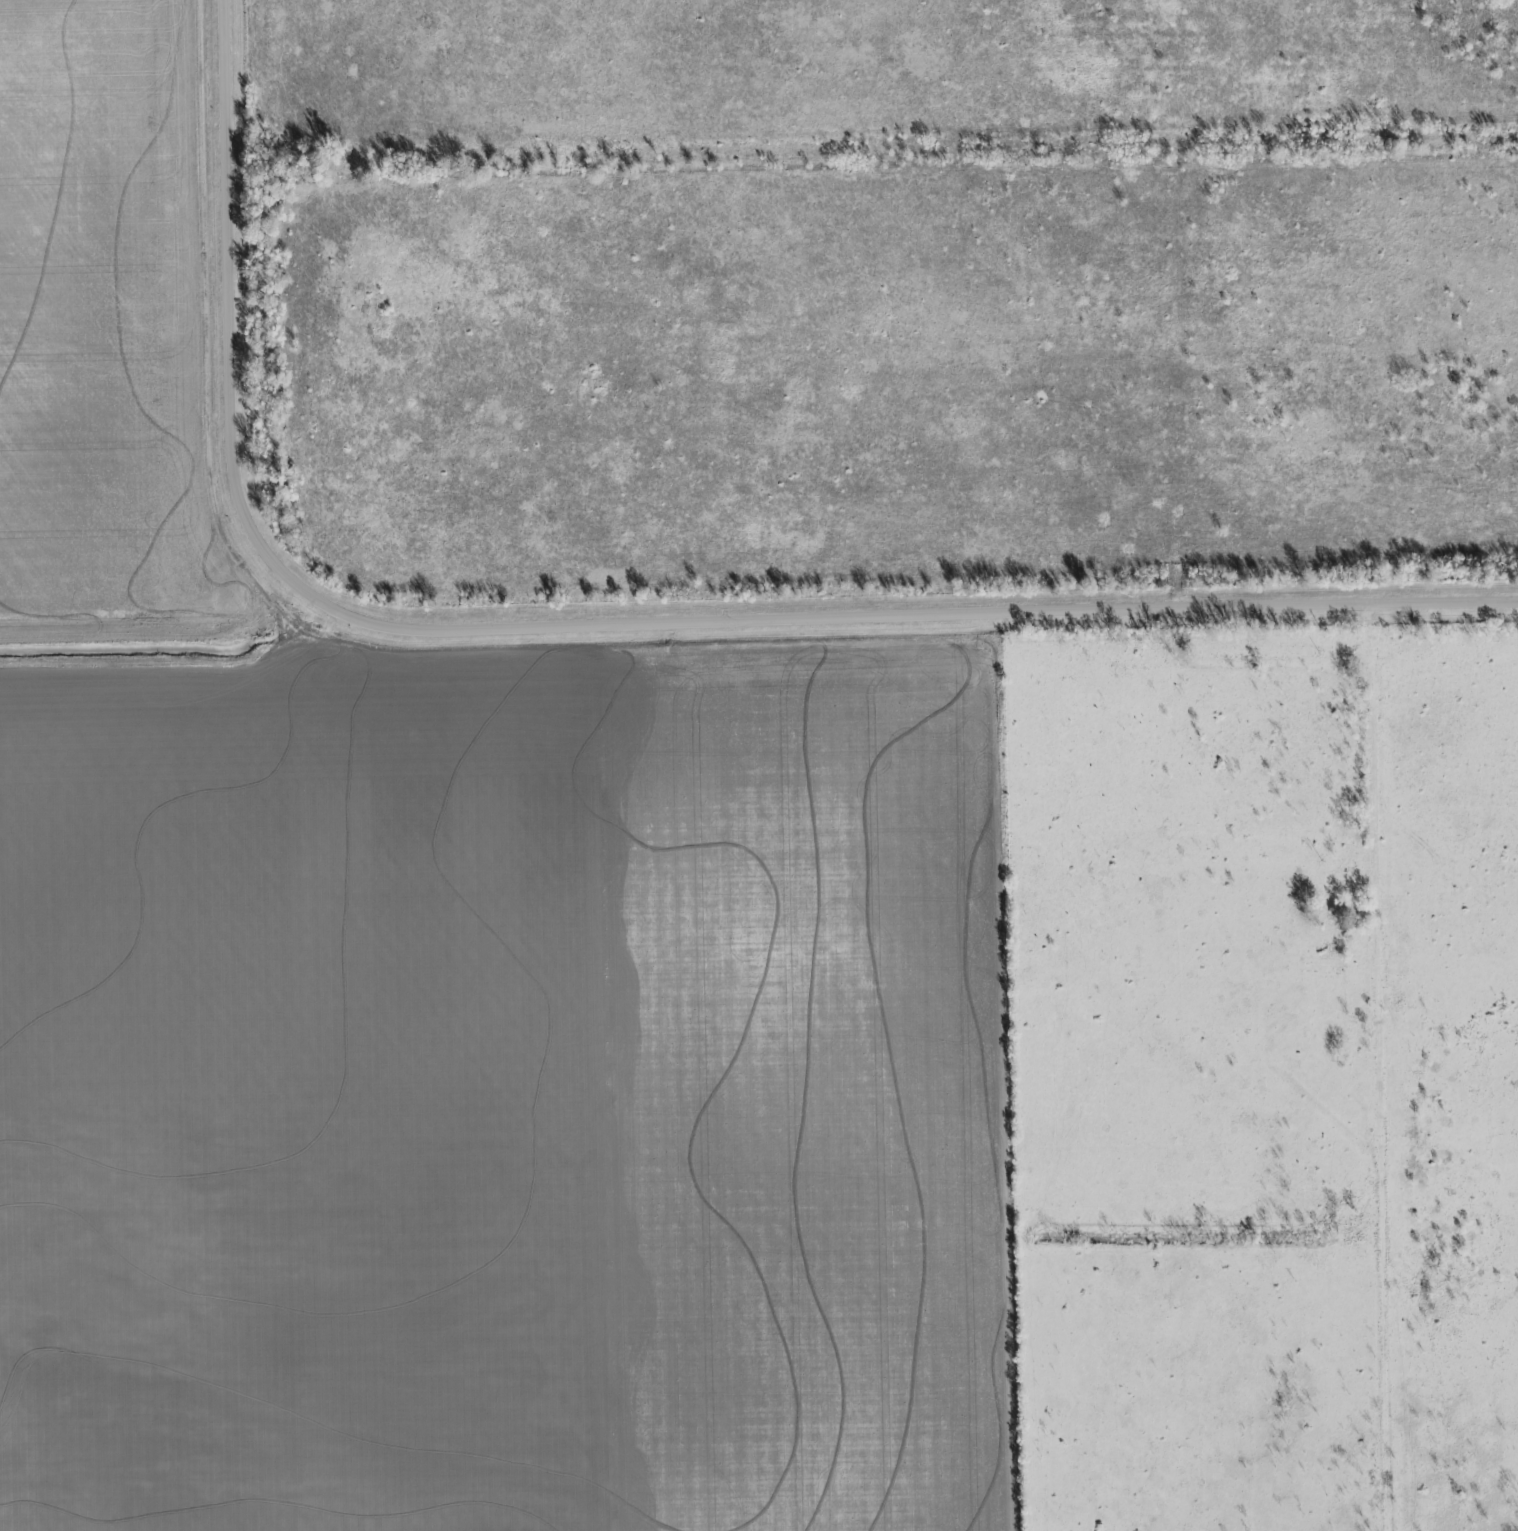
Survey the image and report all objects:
road: (601, 624)

